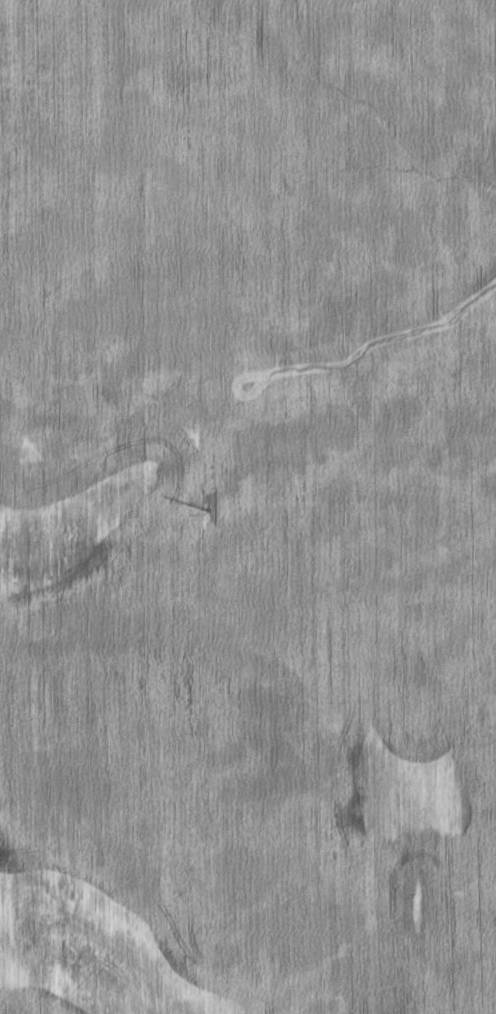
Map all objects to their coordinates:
power tower: (208, 507)

